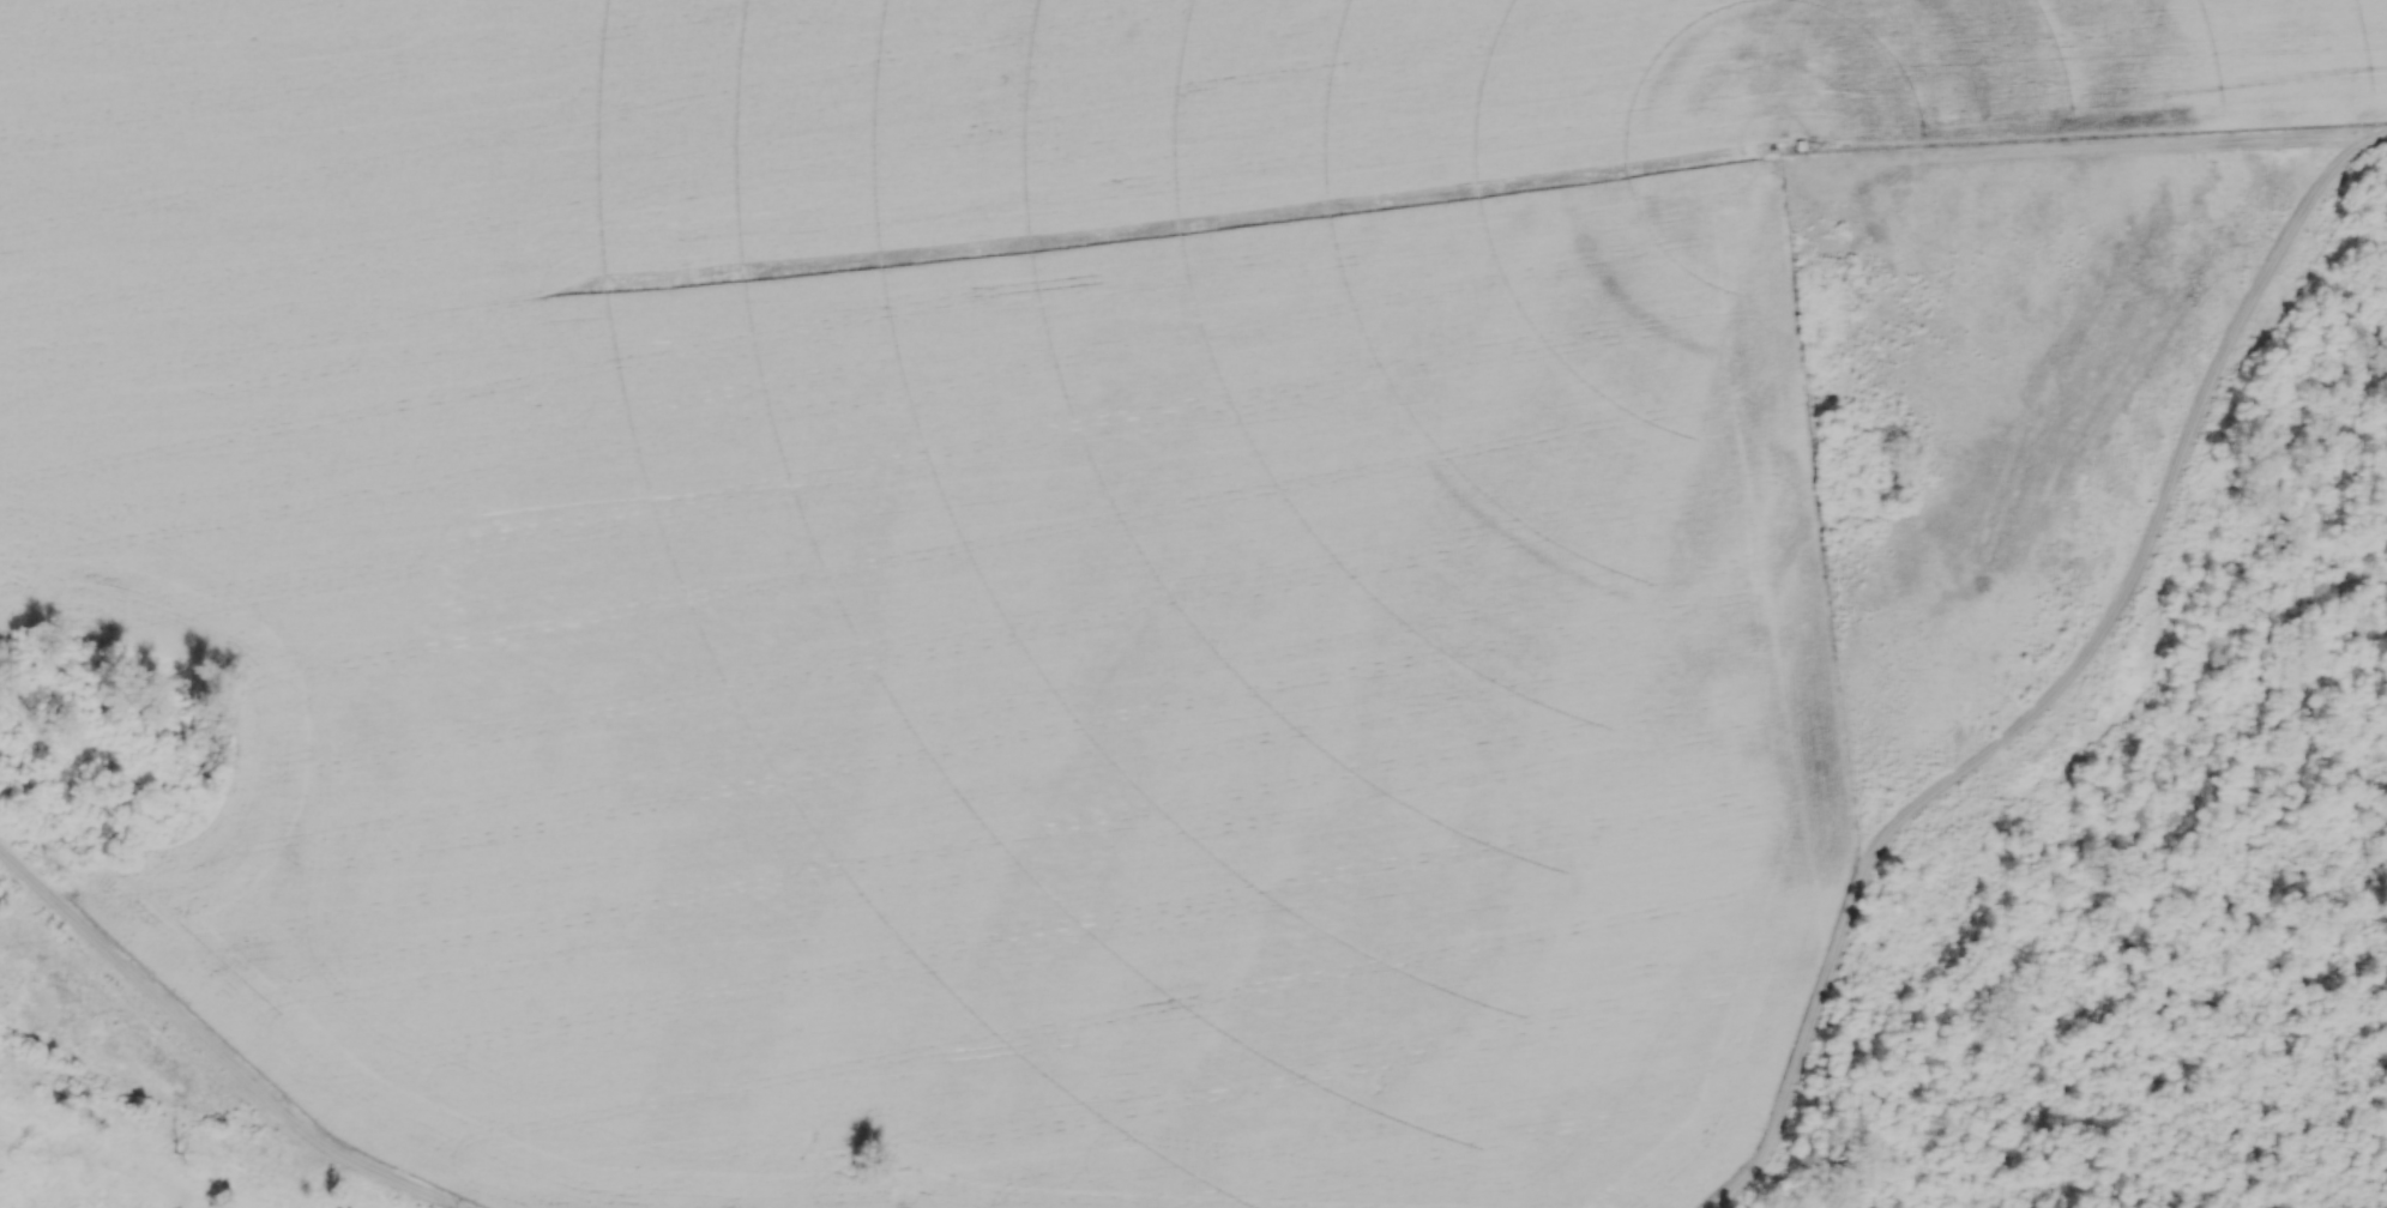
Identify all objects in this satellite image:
crop: (991, 558)
road: (2061, 683)
road: (213, 1053)

